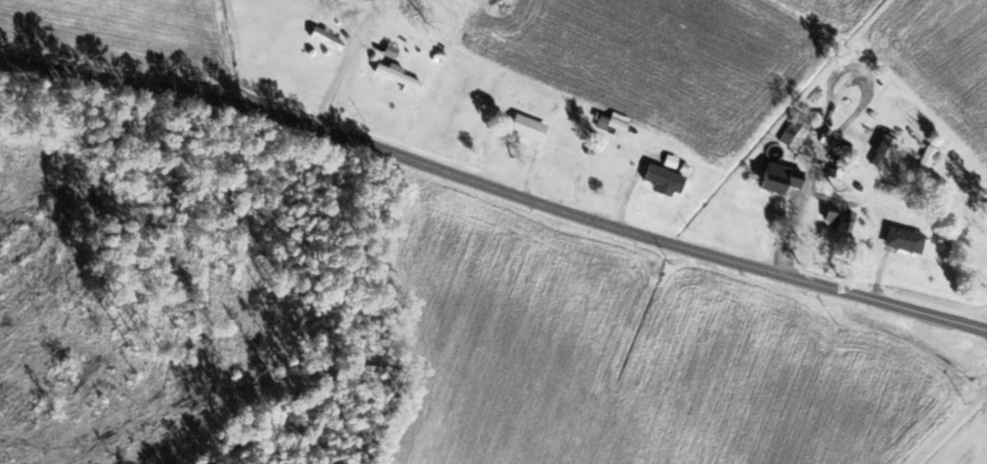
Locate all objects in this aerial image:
building: (325, 38)
building: (397, 75)
building: (527, 127)
building: (796, 131)
building: (926, 158)
building: (779, 177)
building: (663, 180)
road: (495, 187)
building: (837, 218)
building: (903, 240)

